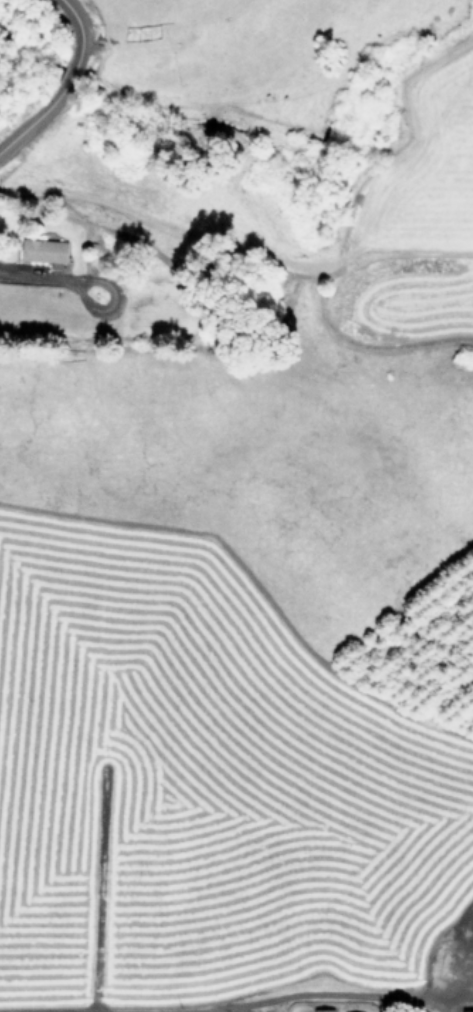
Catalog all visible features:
road: (73, 15)
road: (71, 74)
road: (24, 127)
building: (44, 251)
road: (34, 274)
crop: (237, 518)
road: (320, 995)
road: (237, 1008)
building: (322, 1009)
building: (466, 1010)
building: (358, 1011)

